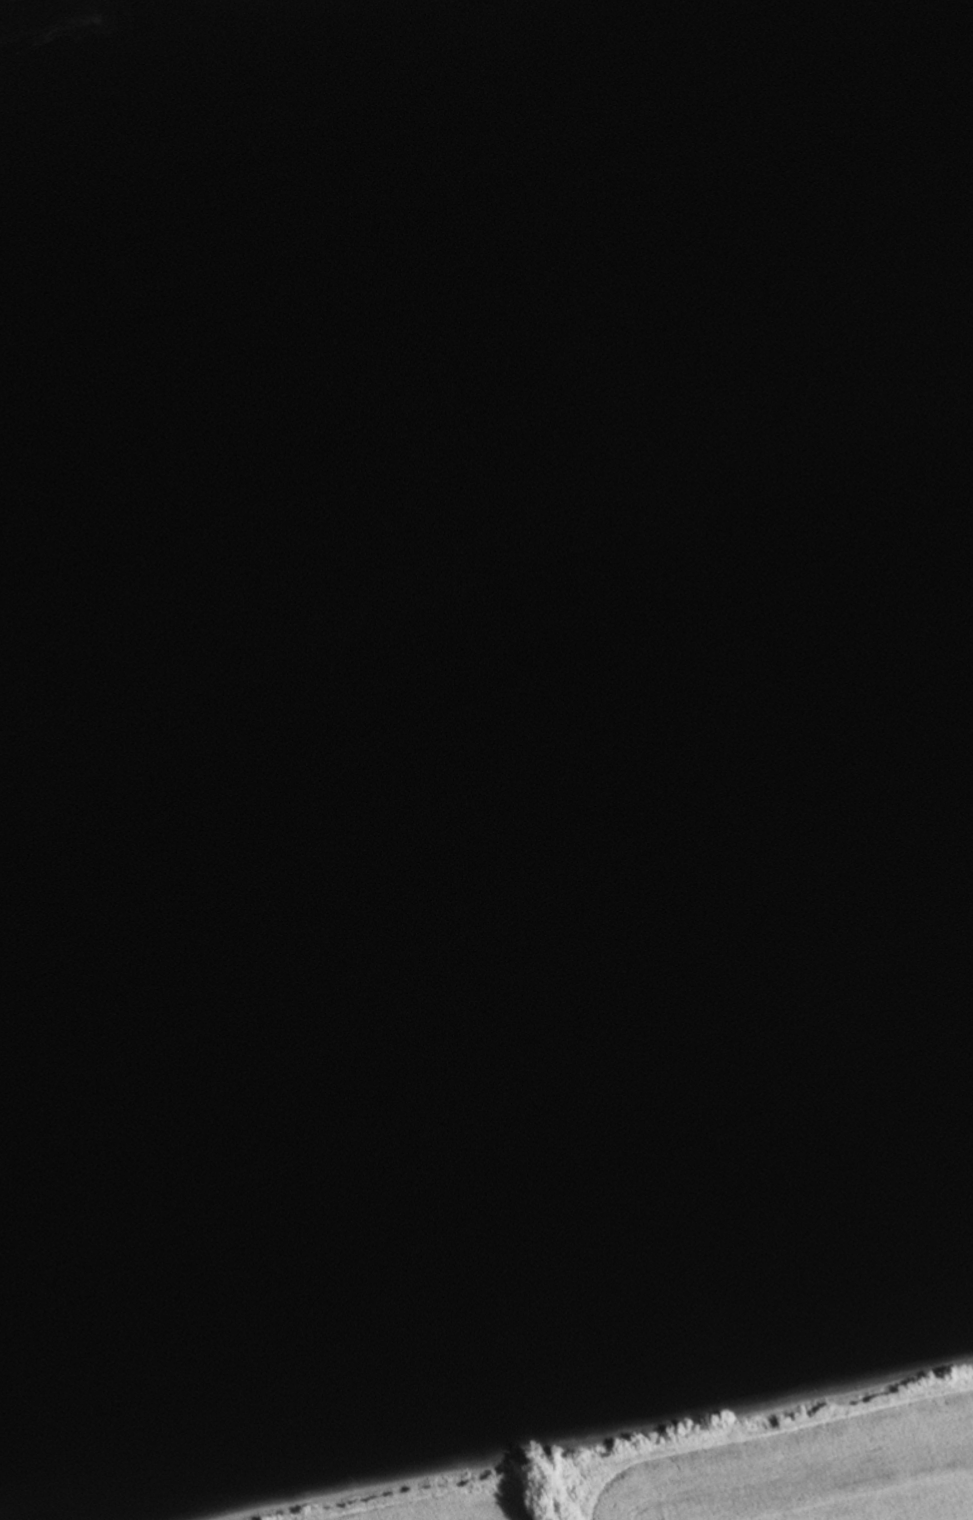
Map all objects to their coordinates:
river: (486, 799)

